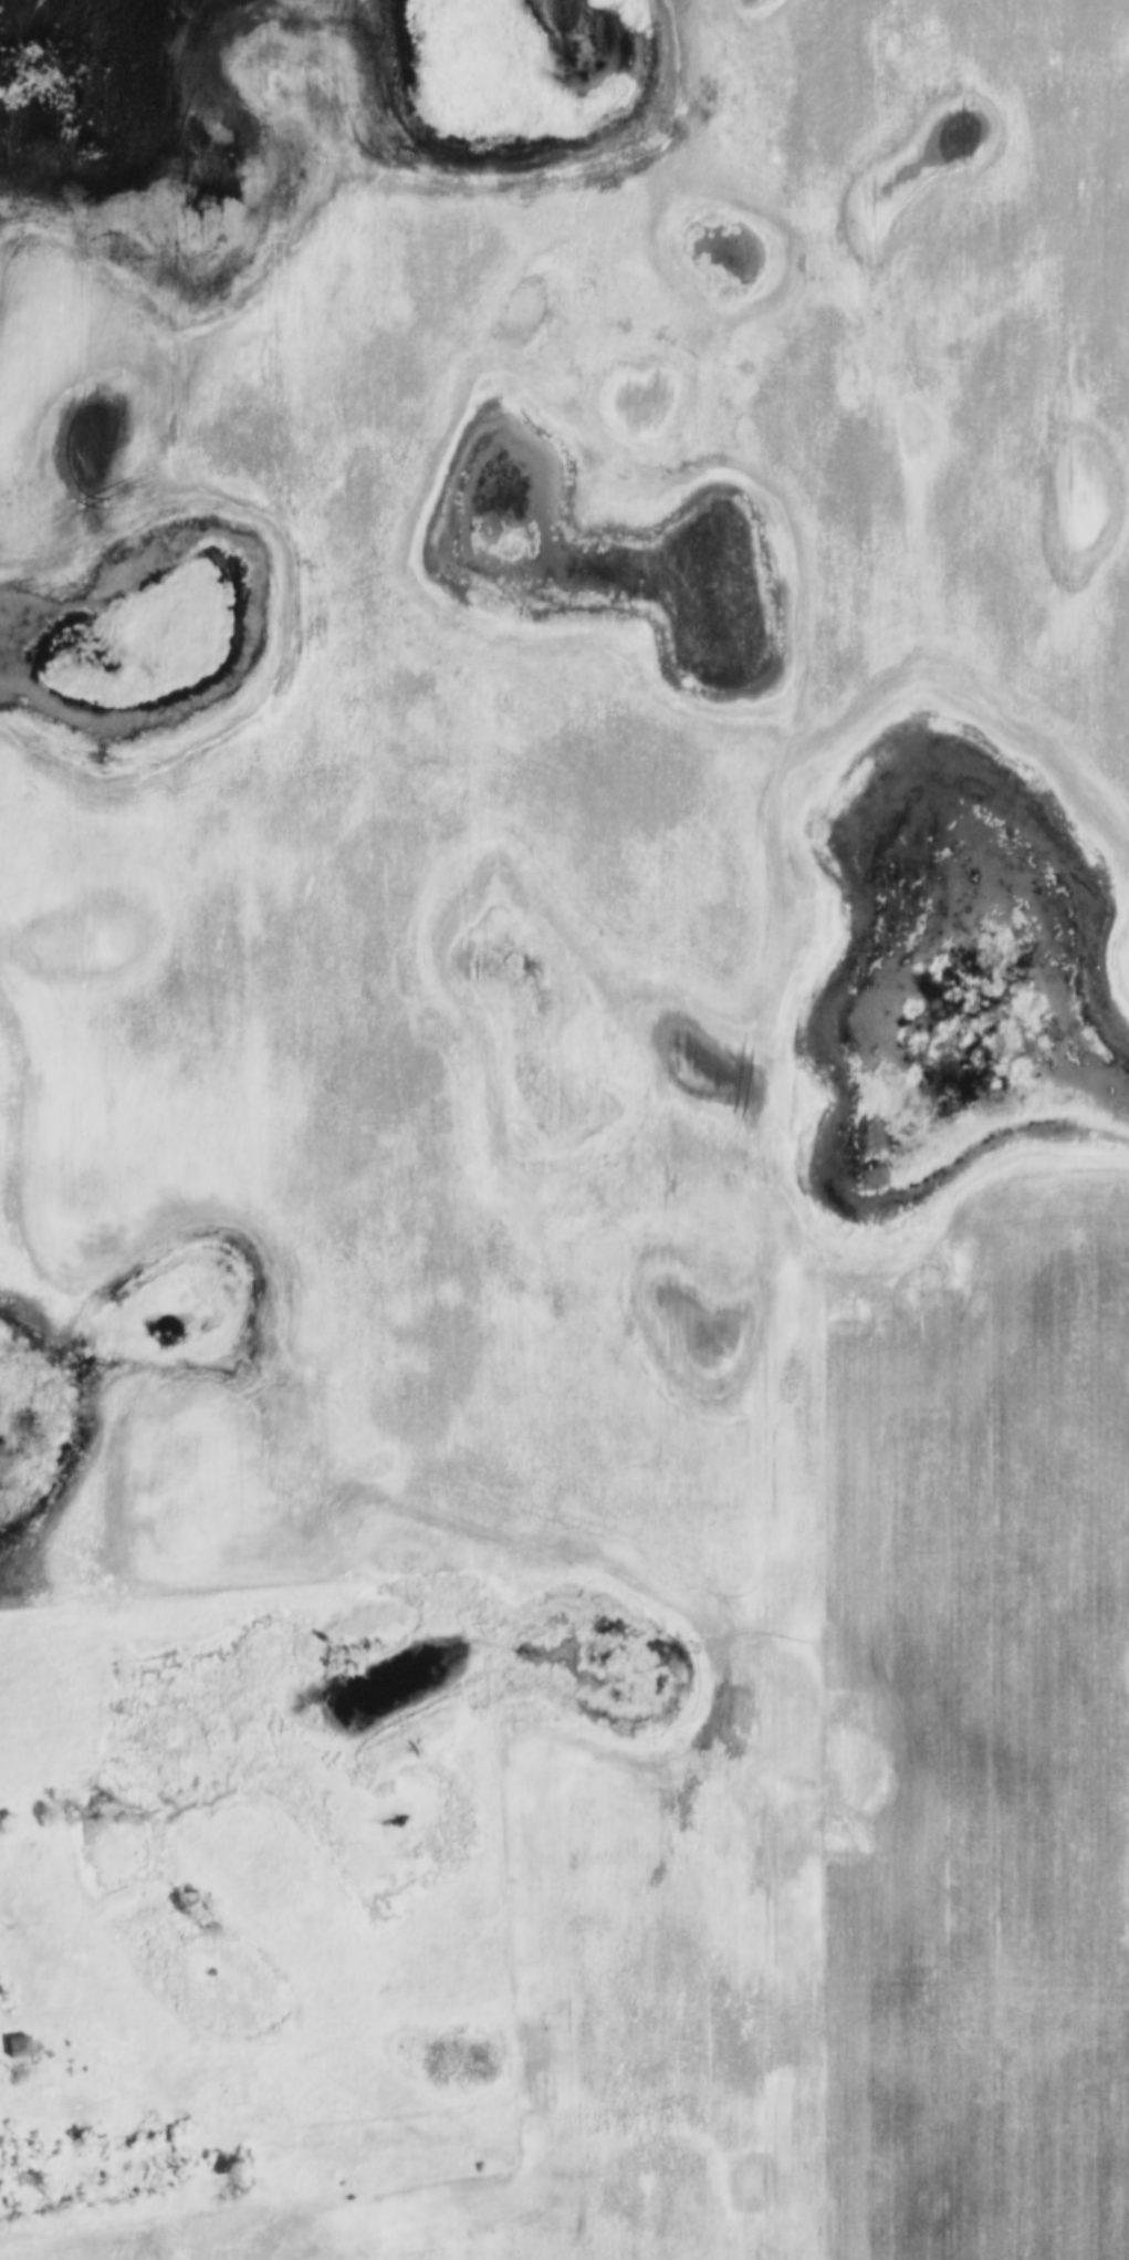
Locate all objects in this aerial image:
building: (19, 2050)
road: (17, 2054)

